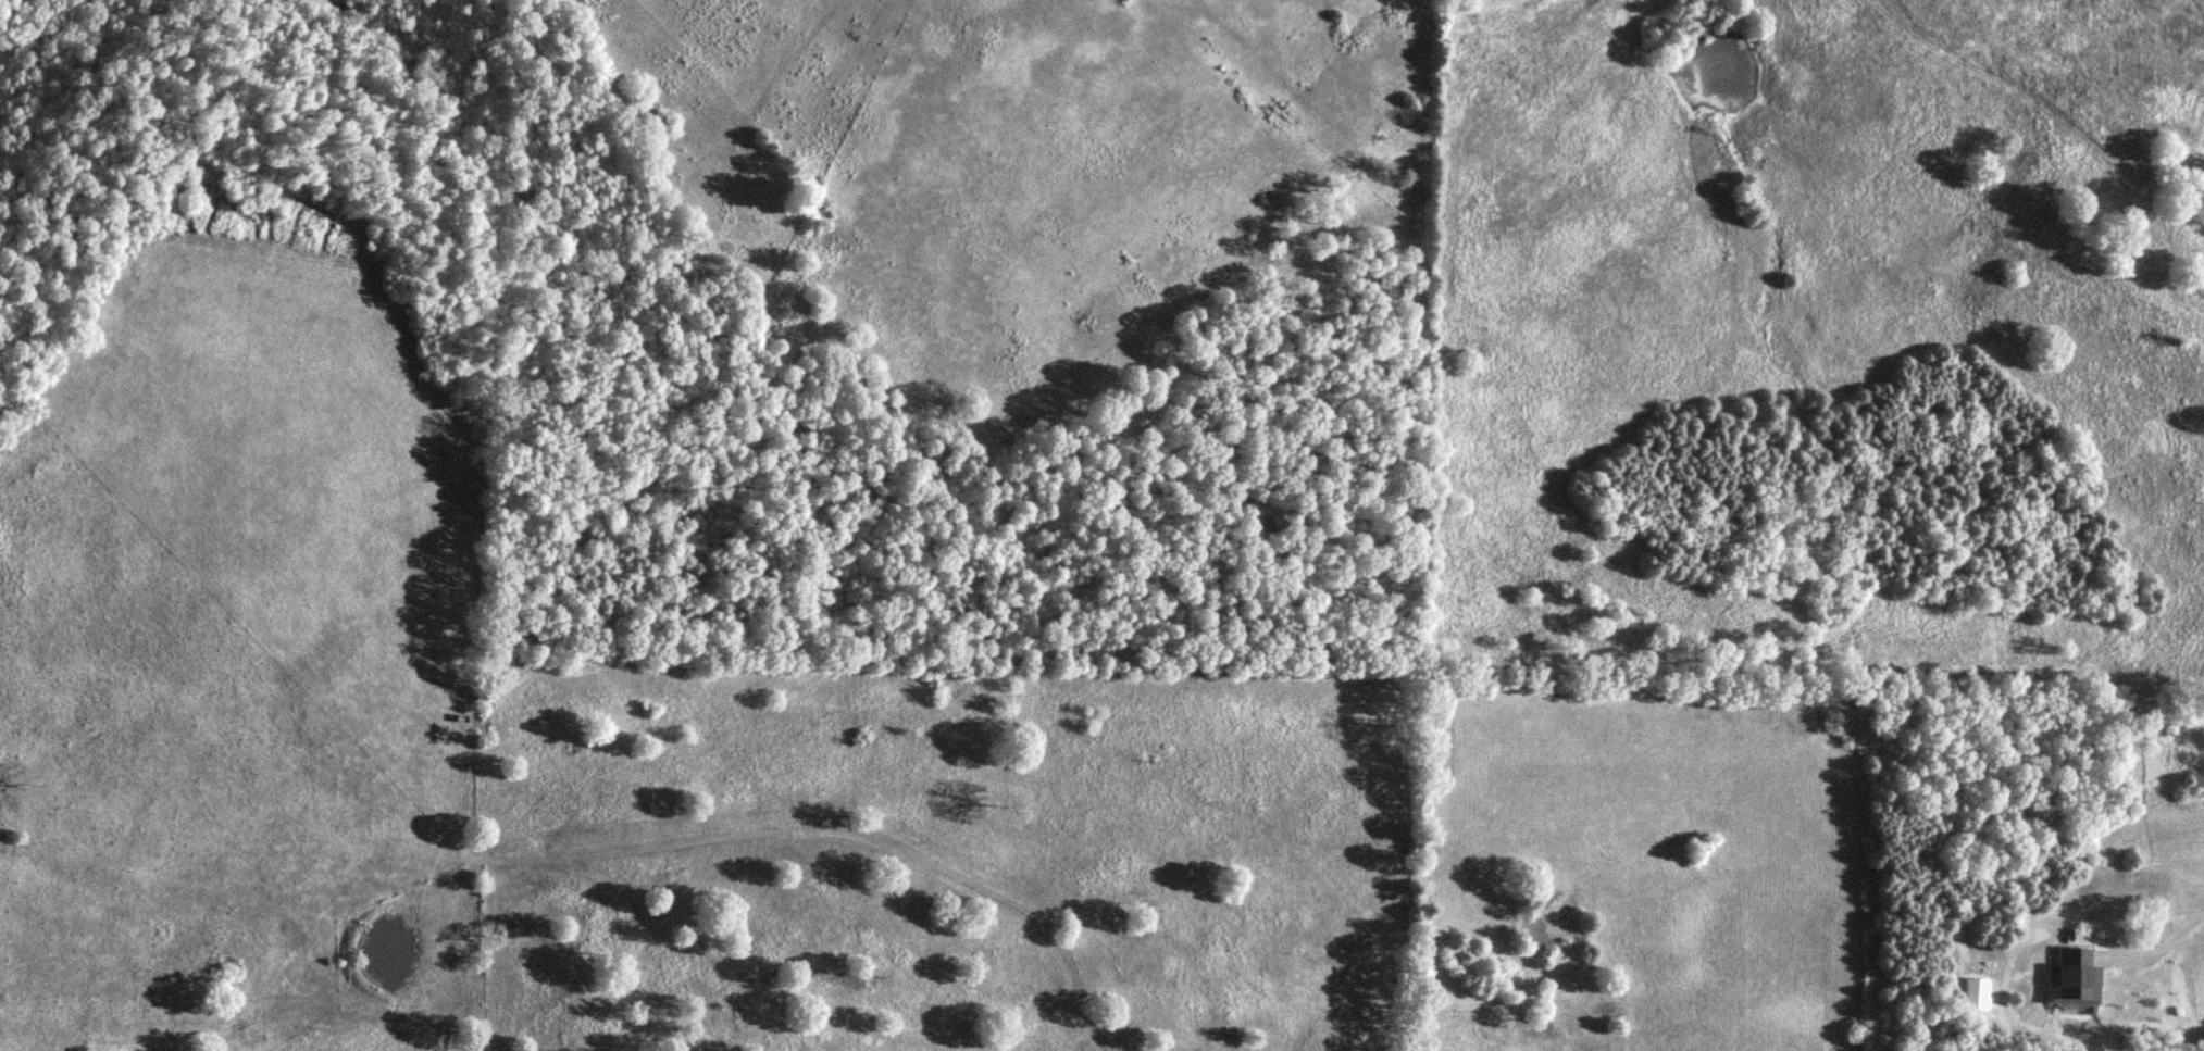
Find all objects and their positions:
building: (2081, 989)
building: (1981, 993)

